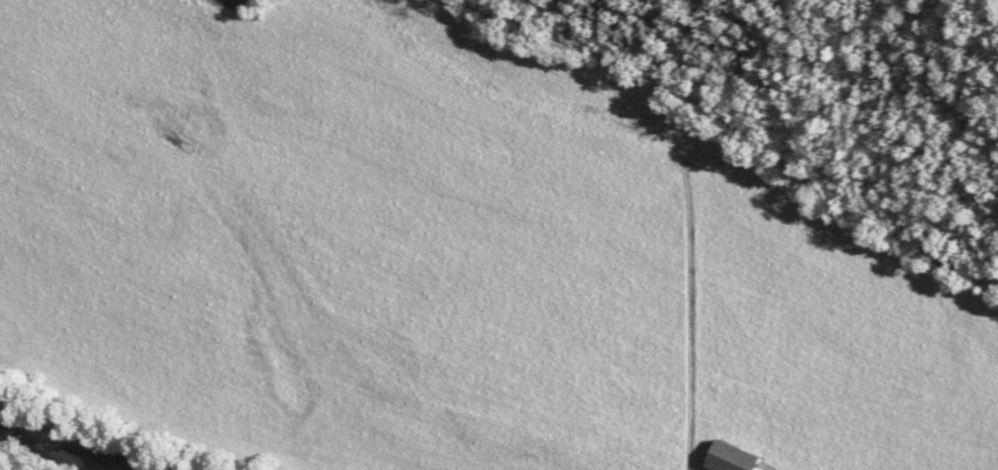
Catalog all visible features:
road: (745, 143)
river: (64, 440)
building: (736, 458)

